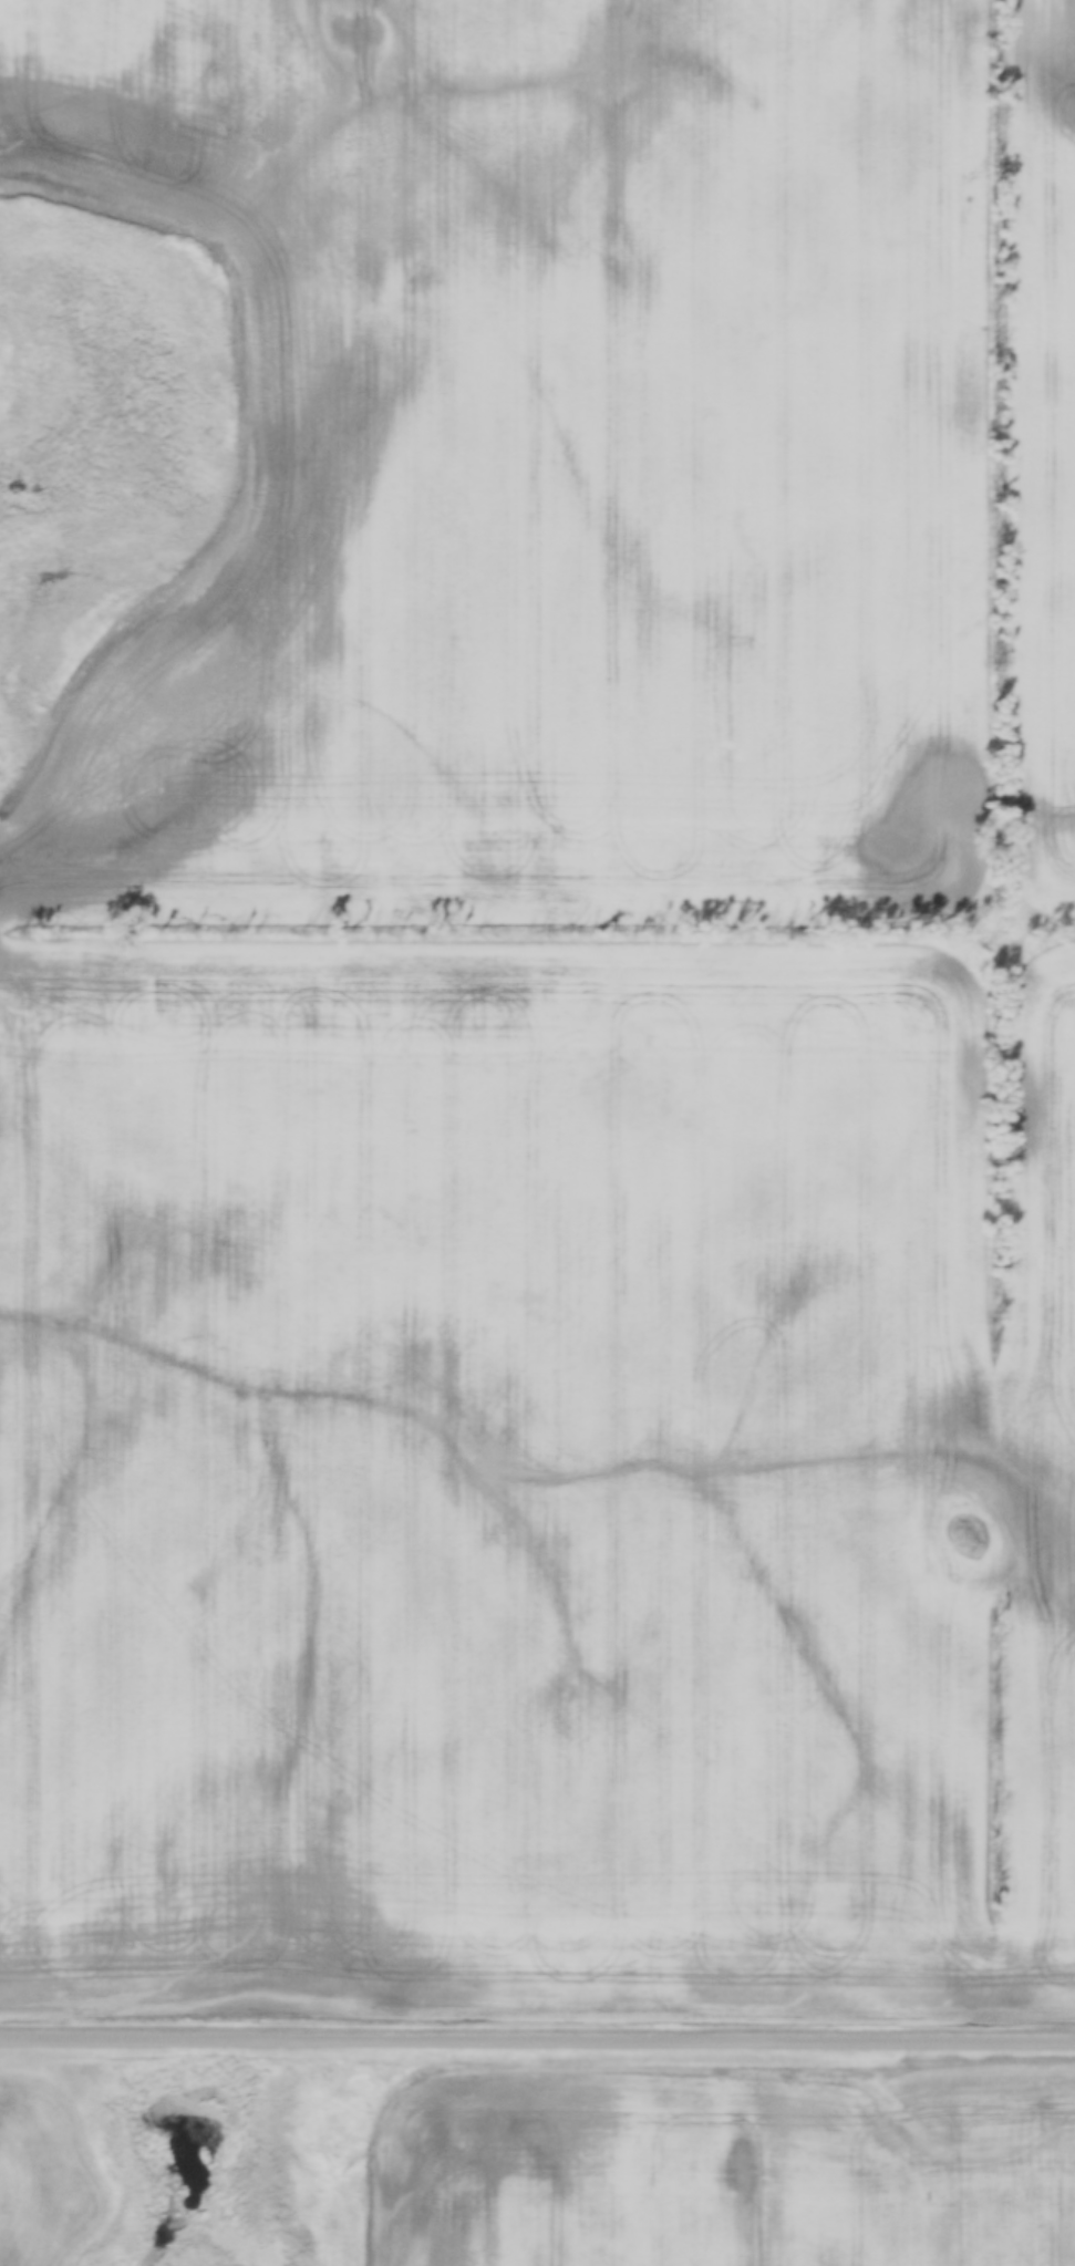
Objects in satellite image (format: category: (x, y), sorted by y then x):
road: (537, 2043)

